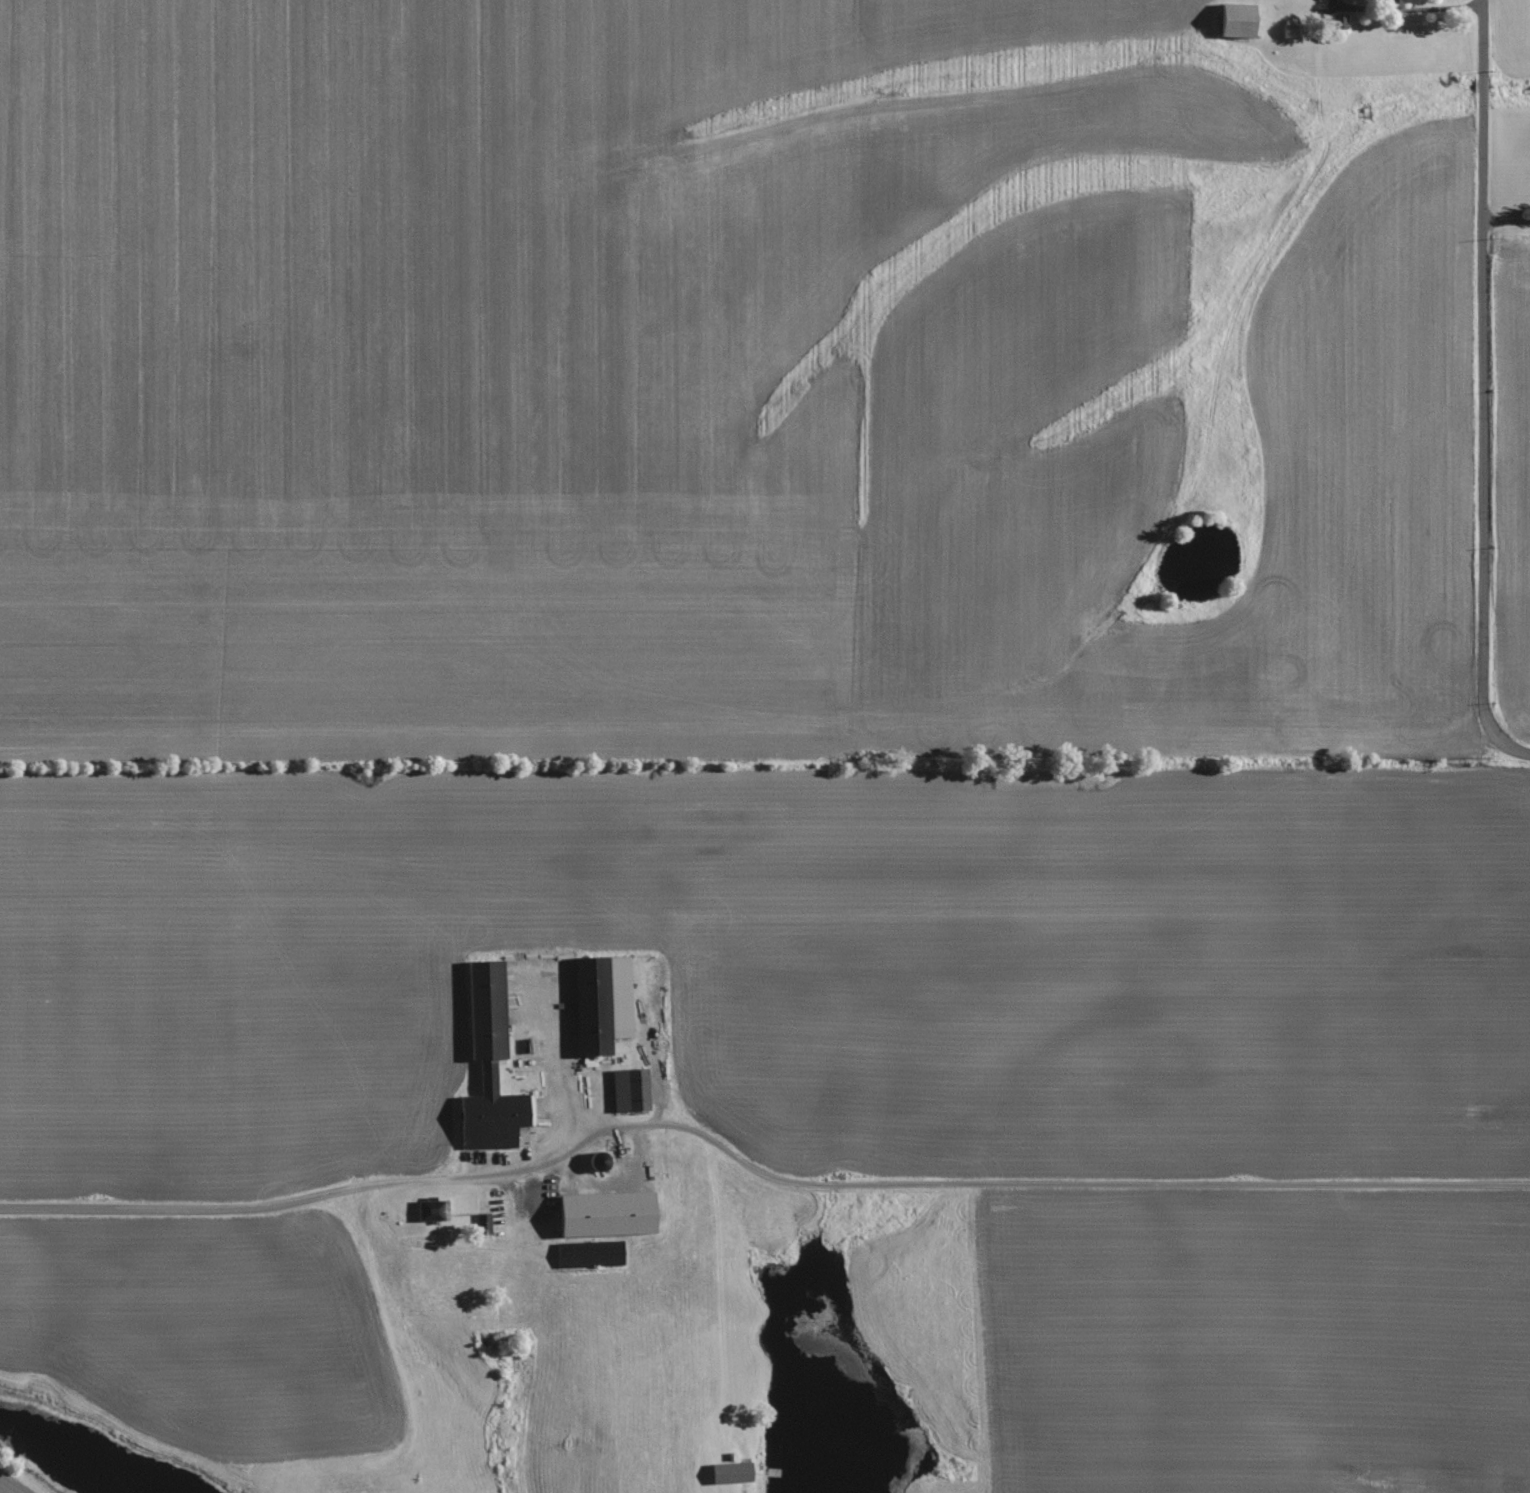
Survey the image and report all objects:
building: (1404, 1)
building: (1236, 20)
building: (1339, 22)
road: (1504, 226)
road: (1477, 397)
building: (600, 1002)
building: (484, 1009)
building: (629, 1090)
building: (492, 1117)
road: (752, 1169)
building: (588, 1254)
building: (730, 1472)

